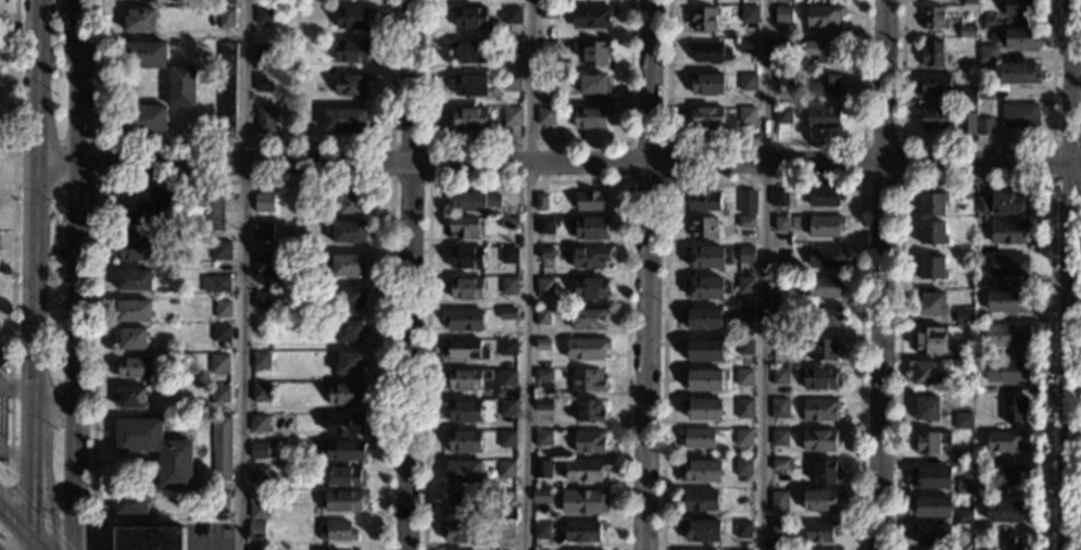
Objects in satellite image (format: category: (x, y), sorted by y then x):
building: (967, 1)
building: (224, 2)
building: (1020, 7)
building: (546, 11)
building: (747, 14)
road: (7, 15)
building: (263, 15)
building: (500, 15)
building: (512, 15)
building: (589, 15)
building: (782, 15)
building: (821, 15)
building: (225, 16)
building: (351, 16)
building: (469, 16)
building: (931, 17)
building: (139, 18)
building: (701, 18)
building: (984, 21)
road: (18, 27)
building: (966, 32)
building: (1020, 37)
building: (546, 46)
building: (745, 46)
building: (510, 47)
building: (782, 48)
building: (468, 50)
building: (821, 50)
building: (262, 51)
building: (350, 51)
building: (708, 51)
building: (593, 52)
building: (930, 52)
building: (143, 54)
building: (988, 54)
road: (7, 57)
building: (552, 70)
building: (1018, 72)
building: (548, 78)
building: (782, 78)
building: (262, 82)
building: (510, 82)
building: (745, 82)
building: (469, 83)
building: (706, 83)
building: (350, 84)
building: (933, 84)
road: (7, 85)
building: (826, 85)
building: (180, 86)
building: (590, 86)
building: (225, 89)
building: (983, 90)
building: (966, 96)
building: (1018, 114)
building: (511, 115)
building: (705, 115)
building: (745, 115)
building: (782, 115)
building: (821, 115)
building: (544, 116)
building: (588, 116)
building: (143, 117)
building: (469, 117)
building: (933, 117)
building: (263, 120)
building: (344, 120)
building: (965, 122)
building: (983, 126)
road: (977, 141)
road: (526, 143)
road: (665, 143)
road: (763, 143)
road: (243, 145)
road: (1052, 160)
road: (97, 163)
road: (558, 164)
road: (901, 178)
road: (427, 179)
road: (976, 179)
road: (526, 180)
road: (764, 180)
road: (243, 182)
building: (824, 195)
building: (777, 197)
building: (590, 199)
building: (470, 200)
building: (701, 200)
building: (261, 201)
building: (349, 201)
building: (539, 201)
building: (746, 202)
building: (930, 202)
building: (1009, 202)
building: (981, 204)
building: (146, 205)
building: (210, 211)
building: (744, 222)
building: (506, 223)
building: (780, 223)
building: (543, 225)
building: (824, 225)
building: (462, 226)
building: (589, 227)
building: (701, 227)
building: (1007, 230)
building: (261, 232)
building: (348, 232)
building: (930, 233)
road: (11, 247)
building: (982, 248)
building: (136, 249)
building: (219, 250)
building: (543, 252)
building: (507, 254)
building: (744, 254)
building: (465, 255)
building: (589, 255)
building: (824, 255)
building: (704, 258)
building: (208, 264)
building: (214, 264)
building: (260, 264)
building: (348, 264)
building: (1006, 264)
road: (33, 266)
building: (930, 267)
road: (75, 274)
road: (243, 274)
road: (406, 274)
road: (645, 274)
road: (763, 274)
road: (881, 274)
road: (1069, 274)
road: (527, 275)
building: (133, 279)
building: (214, 284)
building: (981, 284)
building: (507, 285)
building: (543, 286)
building: (745, 286)
building: (822, 286)
building: (589, 287)
building: (704, 287)
building: (465, 288)
building: (345, 297)
building: (259, 299)
building: (781, 299)
building: (1005, 301)
building: (930, 302)
building: (221, 309)
building: (131, 310)
building: (506, 312)
building: (744, 315)
building: (778, 315)
building: (961, 315)
building: (541, 316)
building: (824, 316)
building: (587, 317)
building: (701, 317)
building: (461, 318)
building: (980, 318)
building: (348, 329)
building: (218, 332)
building: (1007, 337)
building: (129, 339)
building: (928, 340)
building: (778, 342)
building: (541, 343)
building: (506, 346)
building: (585, 347)
building: (744, 347)
building: (465, 348)
building: (702, 349)
building: (821, 349)
building: (963, 351)
building: (981, 353)
building: (2, 358)
building: (257, 360)
building: (217, 362)
building: (348, 362)
building: (133, 367)
building: (1005, 372)
building: (923, 373)
building: (541, 374)
building: (742, 376)
building: (779, 376)
building: (505, 377)
building: (818, 377)
building: (465, 378)
building: (586, 379)
building: (702, 379)
road: (15, 385)
building: (955, 388)
building: (259, 391)
building: (343, 392)
building: (218, 393)
building: (130, 398)
building: (542, 404)
building: (505, 408)
building: (701, 408)
building: (742, 408)
building: (778, 408)
building: (923, 408)
building: (1013, 408)
building: (587, 410)
building: (818, 410)
building: (463, 411)
building: (1, 412)
road: (52, 412)
building: (960, 421)
building: (257, 423)
building: (343, 423)
building: (541, 437)
building: (695, 437)
building: (742, 437)
building: (778, 437)
building: (504, 438)
building: (818, 439)
building: (928, 440)
building: (462, 441)
building: (587, 441)
building: (1004, 441)
building: (221, 448)
building: (343, 448)
road: (14, 449)
building: (154, 449)
building: (256, 450)
building: (960, 455)
building: (981, 459)
building: (780, 465)
building: (743, 467)
building: (504, 468)
building: (540, 468)
building: (583, 470)
building: (462, 471)
building: (697, 471)
building: (824, 473)
building: (1002, 474)
building: (256, 475)
building: (344, 476)
building: (928, 477)
road: (9, 482)
building: (961, 486)
road: (48, 490)
building: (979, 493)
building: (504, 497)
building: (540, 497)
building: (219, 499)
building: (696, 499)
building: (342, 500)
building: (819, 500)
building: (583, 501)
building: (777, 501)
building: (460, 502)
building: (129, 504)
building: (255, 504)
building: (929, 507)
building: (1004, 510)
building: (961, 516)
road: (13, 517)
road: (43, 521)
building: (699, 528)
building: (981, 528)
building: (254, 529)
building: (740, 529)
building: (778, 529)
building: (335, 530)
building: (457, 530)
building: (503, 530)
building: (539, 530)
building: (580, 532)
building: (817, 532)
traffic signals: (28, 533)
building: (963, 533)
building: (930, 535)
road: (56, 536)
building: (148, 538)
road: (8, 541)
road: (27, 541)
road: (36, 541)
building: (1013, 543)
building: (691, 549)
building: (738, 549)
building: (831, 549)

